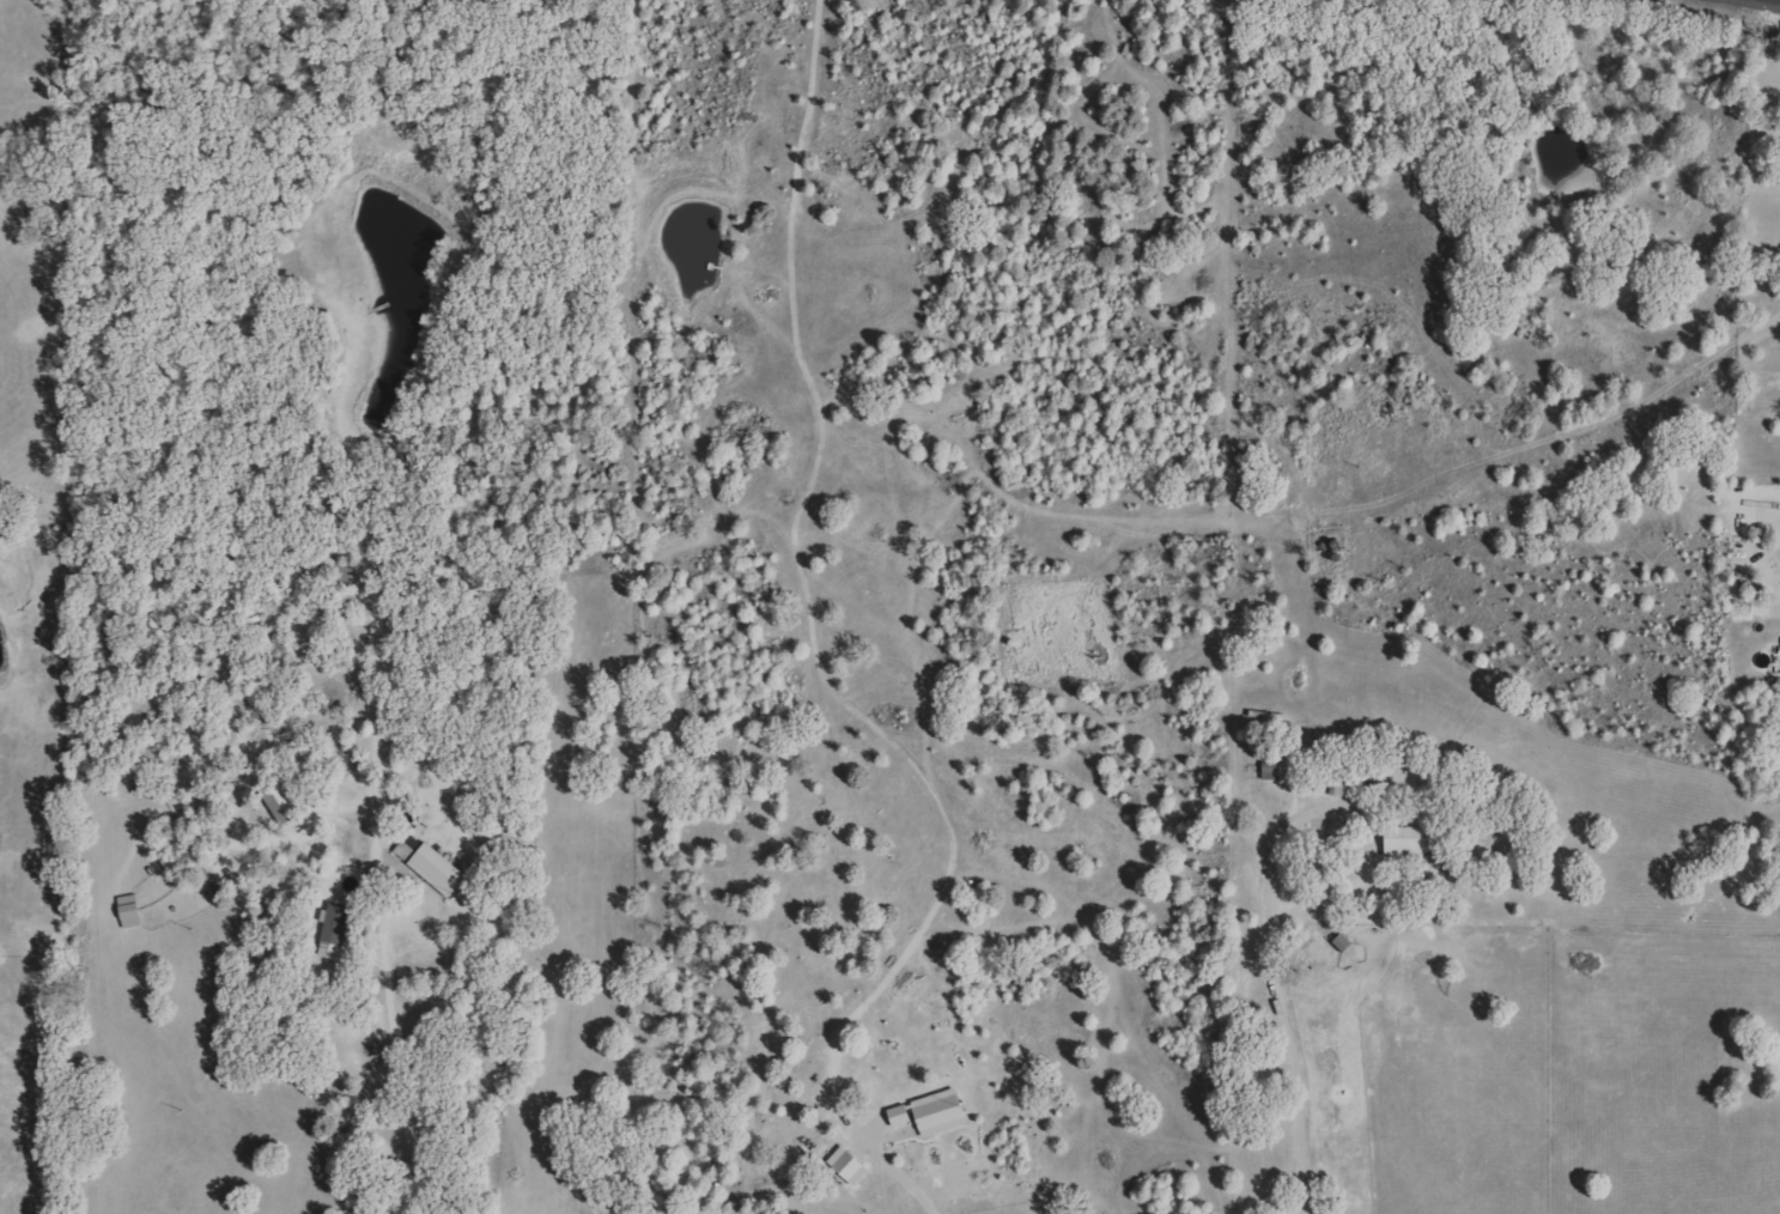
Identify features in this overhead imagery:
railway: (1778, 0)
building: (322, 570)
building: (1275, 770)
building: (285, 805)
building: (1414, 840)
building: (441, 870)
road: (372, 894)
building: (339, 924)
building: (1345, 942)
road: (1284, 1044)
building: (943, 1112)
building: (904, 1116)
building: (852, 1165)
road: (900, 1176)

